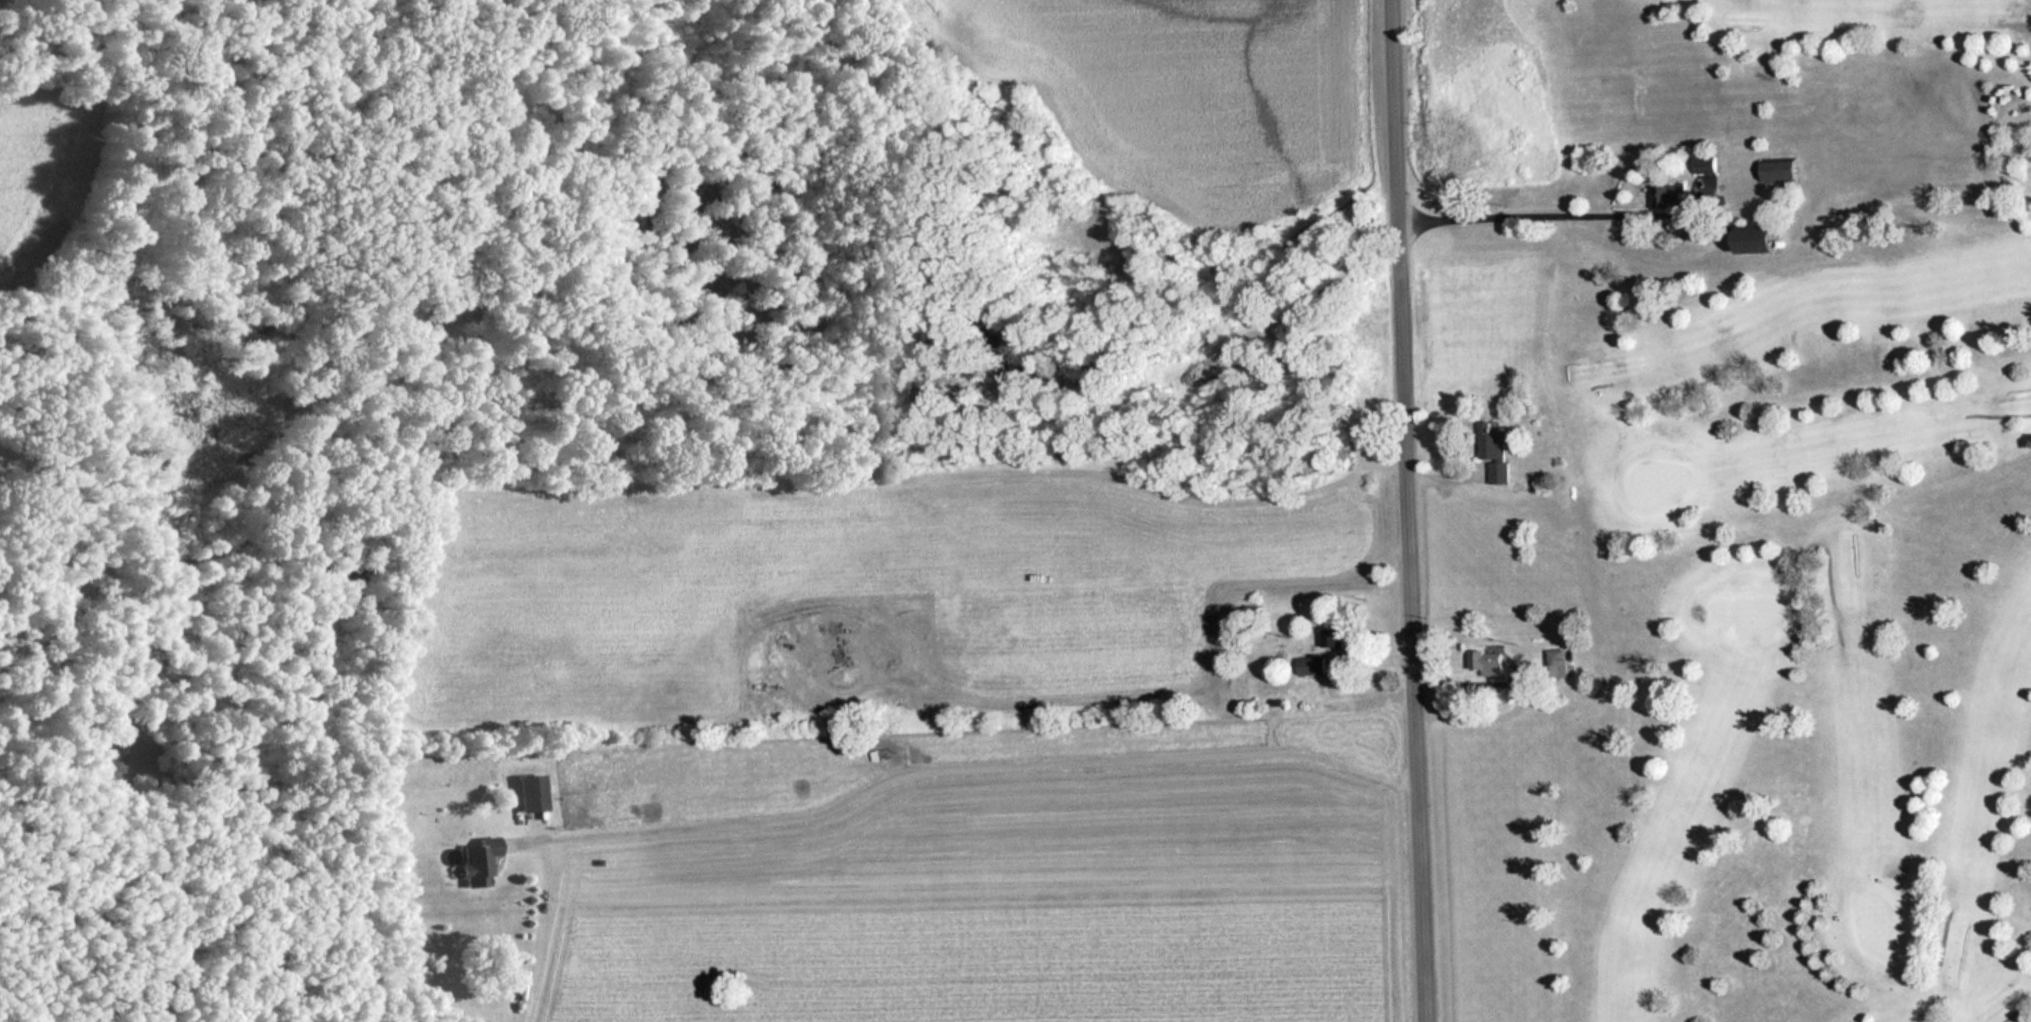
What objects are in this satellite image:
building: (1785, 171)
building: (1675, 196)
building: (1769, 245)
building: (1496, 453)
park: (1737, 507)
road: (1409, 511)
building: (1338, 637)
building: (1557, 662)
building: (1489, 665)
building: (1313, 666)
building: (533, 793)
building: (479, 862)

